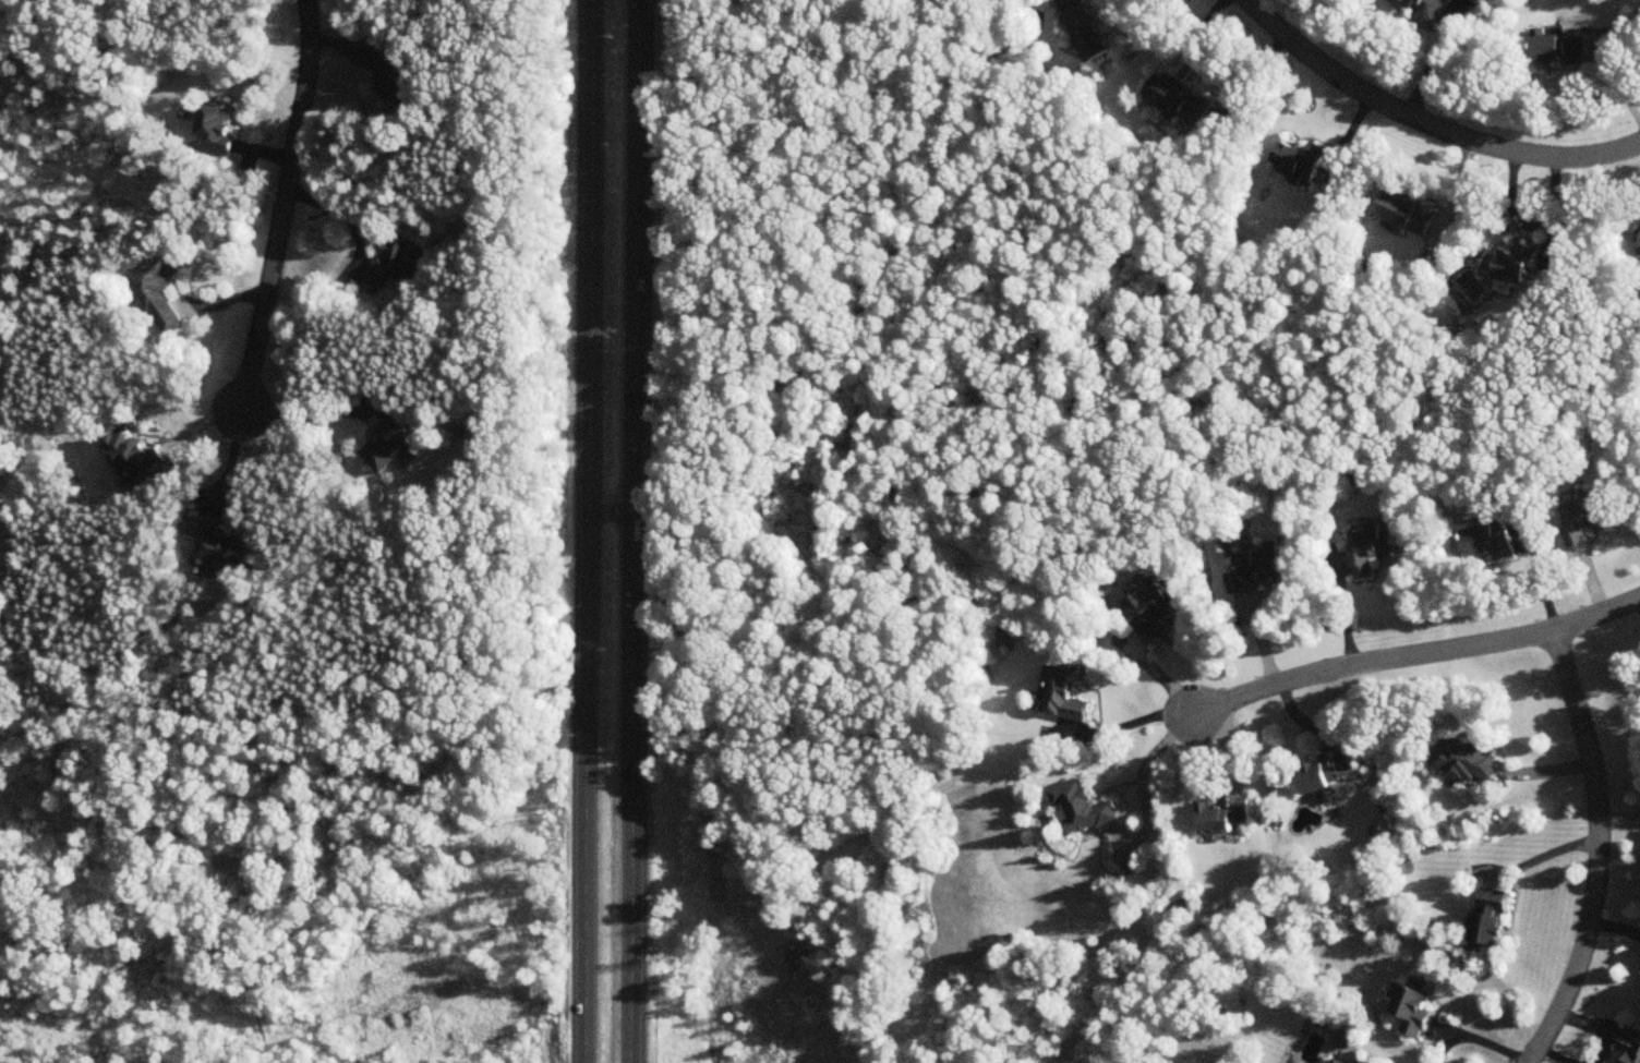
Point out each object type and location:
building: (1425, 9)
building: (1092, 39)
building: (1560, 50)
road: (1207, 67)
road: (1428, 69)
building: (388, 75)
road: (1616, 77)
building: (1179, 100)
building: (215, 129)
road: (1425, 130)
building: (1304, 162)
road: (279, 209)
building: (1409, 216)
road: (1532, 226)
building: (1517, 266)
building: (158, 293)
road: (309, 414)
building: (385, 450)
building: (128, 454)
building: (1583, 521)
road: (591, 531)
road: (635, 531)
building: (222, 542)
building: (1490, 545)
building: (1370, 549)
building: (1256, 570)
building: (1150, 612)
road: (1419, 652)
building: (1062, 698)
road: (1137, 724)
road: (1150, 758)
building: (1467, 763)
building: (1327, 774)
building: (1081, 811)
building: (1227, 817)
road: (1597, 850)
road: (1542, 857)
building: (1492, 918)
building: (1414, 1010)
road: (1599, 1026)
building: (1630, 1046)
road: (1556, 1055)
building: (1338, 1062)

